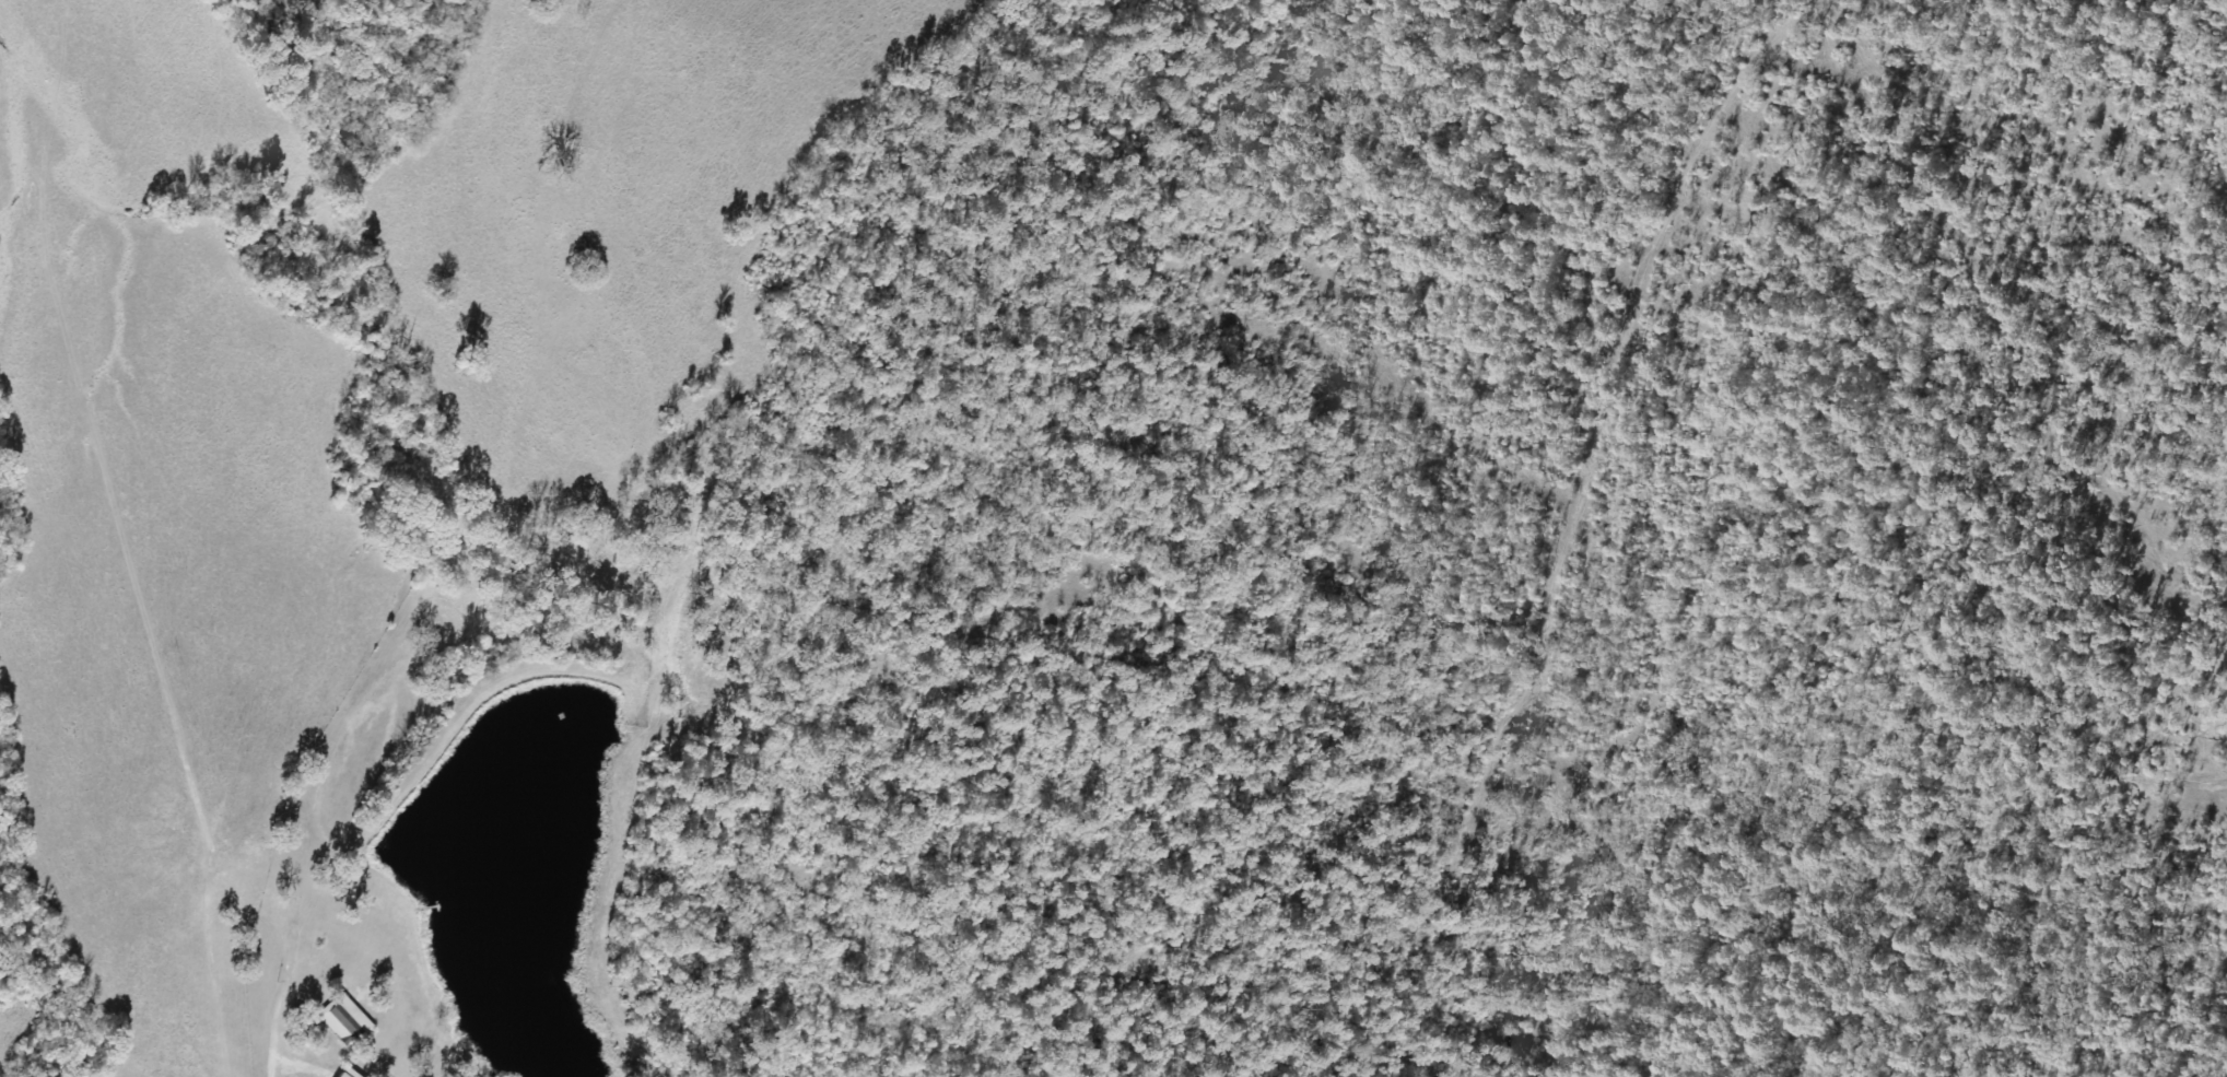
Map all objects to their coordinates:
building: (344, 1022)
road: (296, 1046)
building: (344, 1074)

